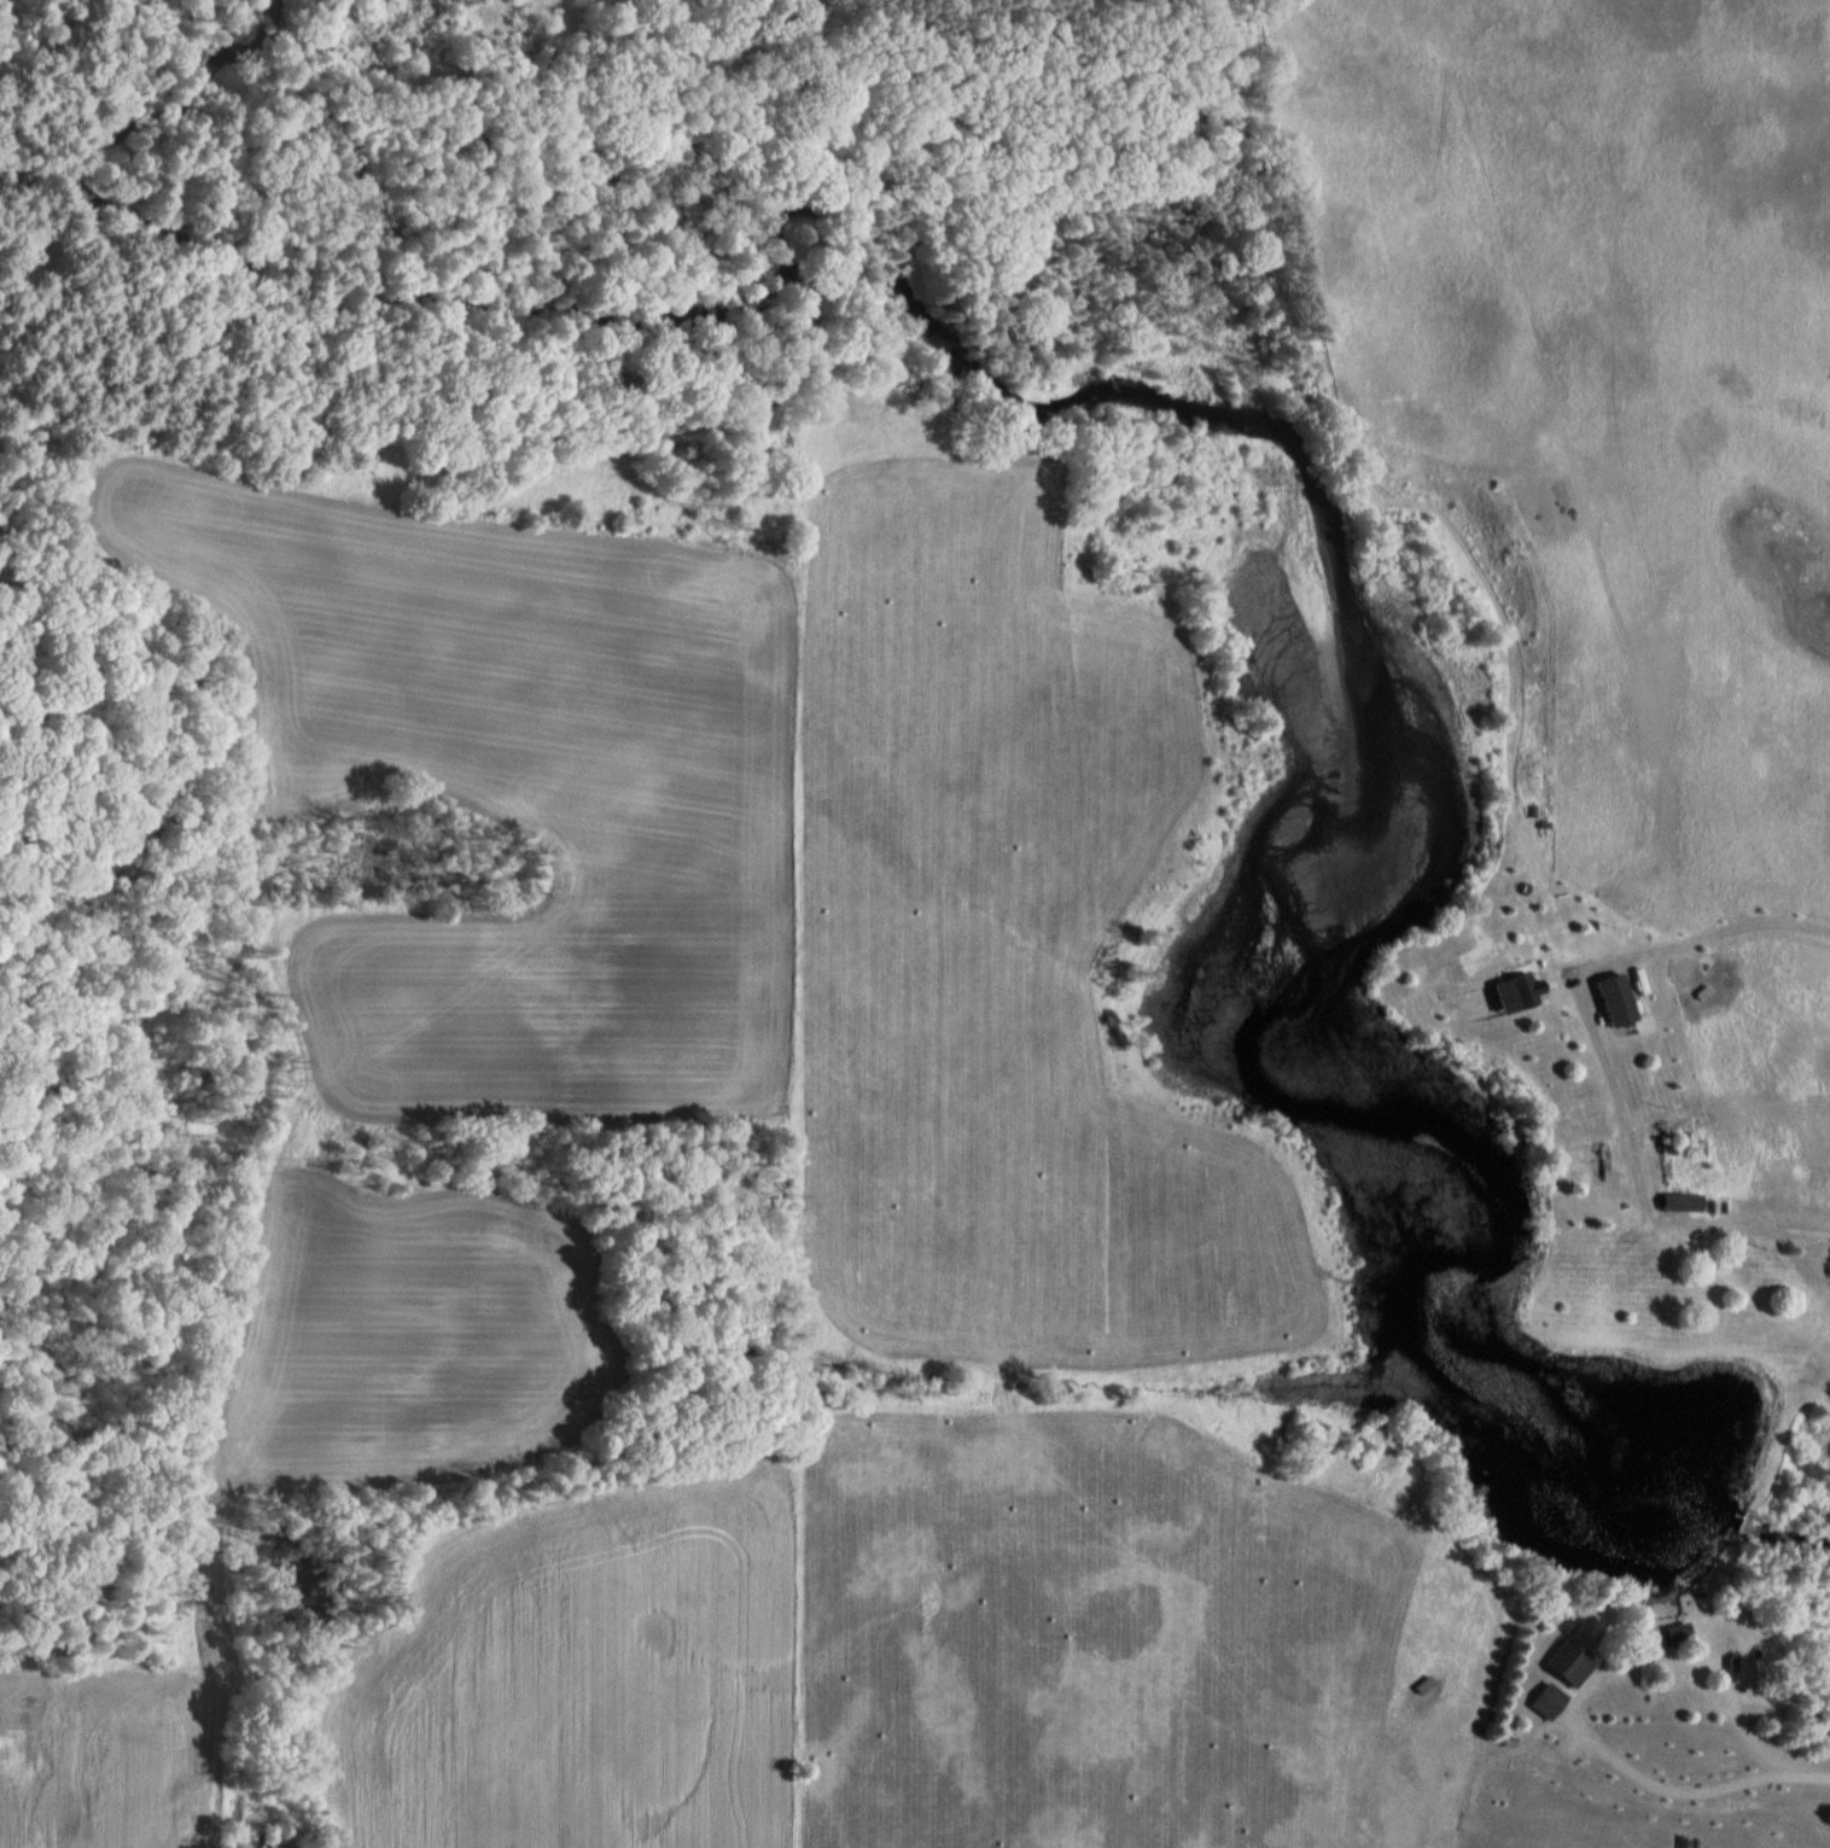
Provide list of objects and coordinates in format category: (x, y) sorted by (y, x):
building: (1502, 992)
building: (1604, 999)
road: (1601, 1054)
building: (1674, 1202)
building: (1663, 1634)
building: (1554, 1665)
building: (1537, 1702)

